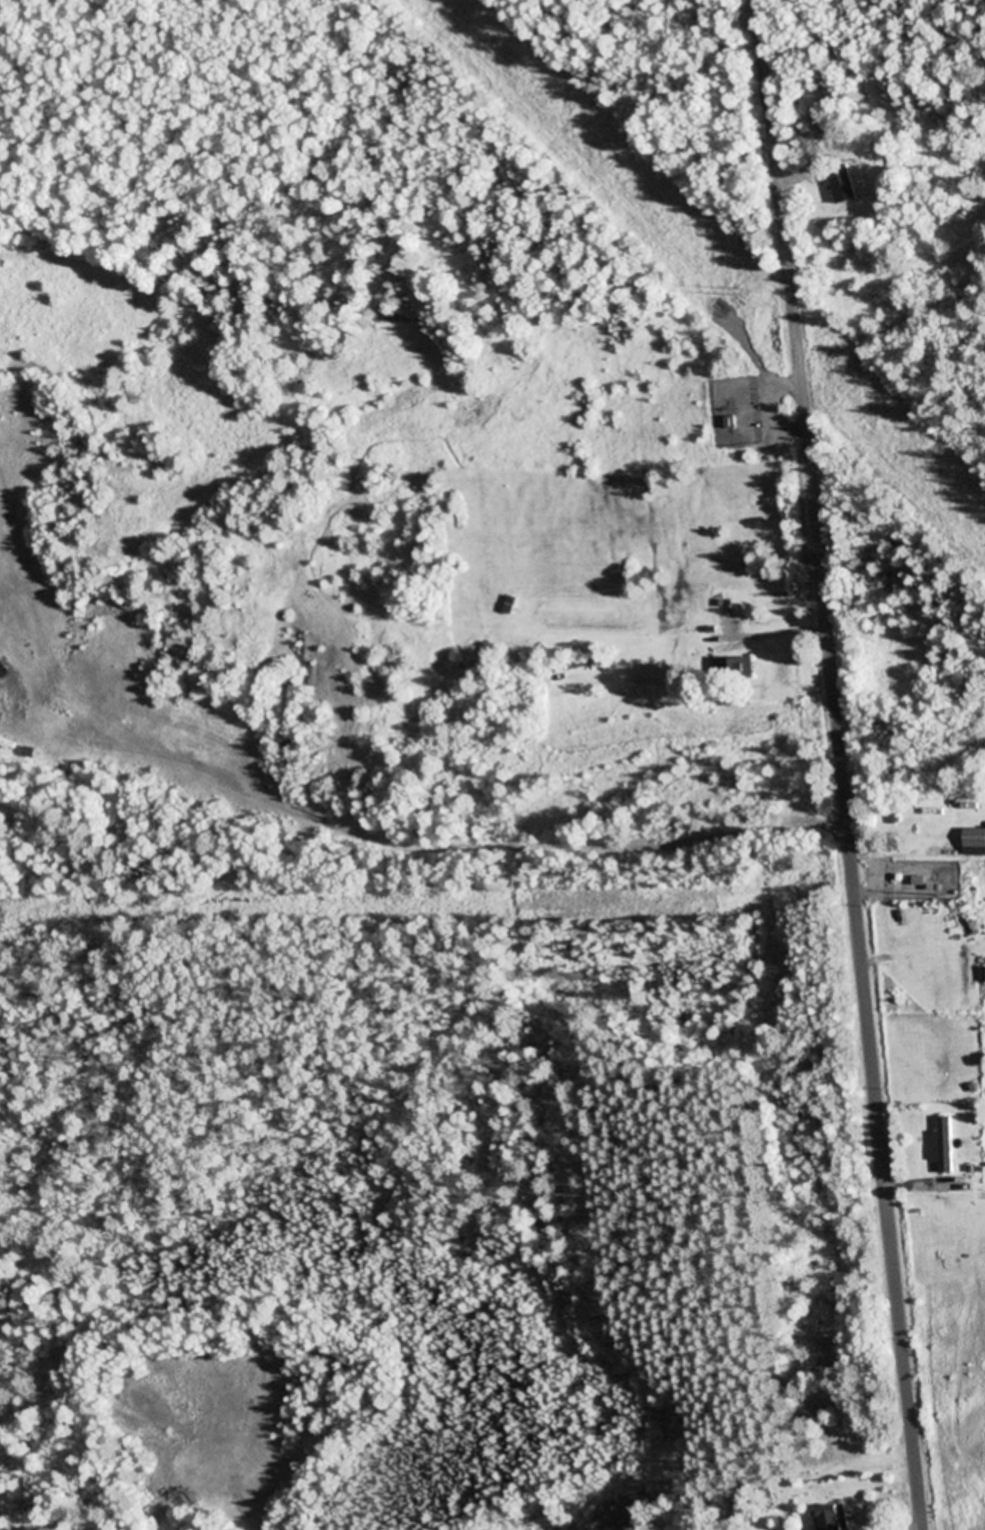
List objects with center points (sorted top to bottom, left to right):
building: (817, 103)
building: (844, 186)
power tower: (747, 295)
building: (734, 670)
road: (842, 764)
building: (975, 843)
building: (945, 1147)
building: (834, 1518)

